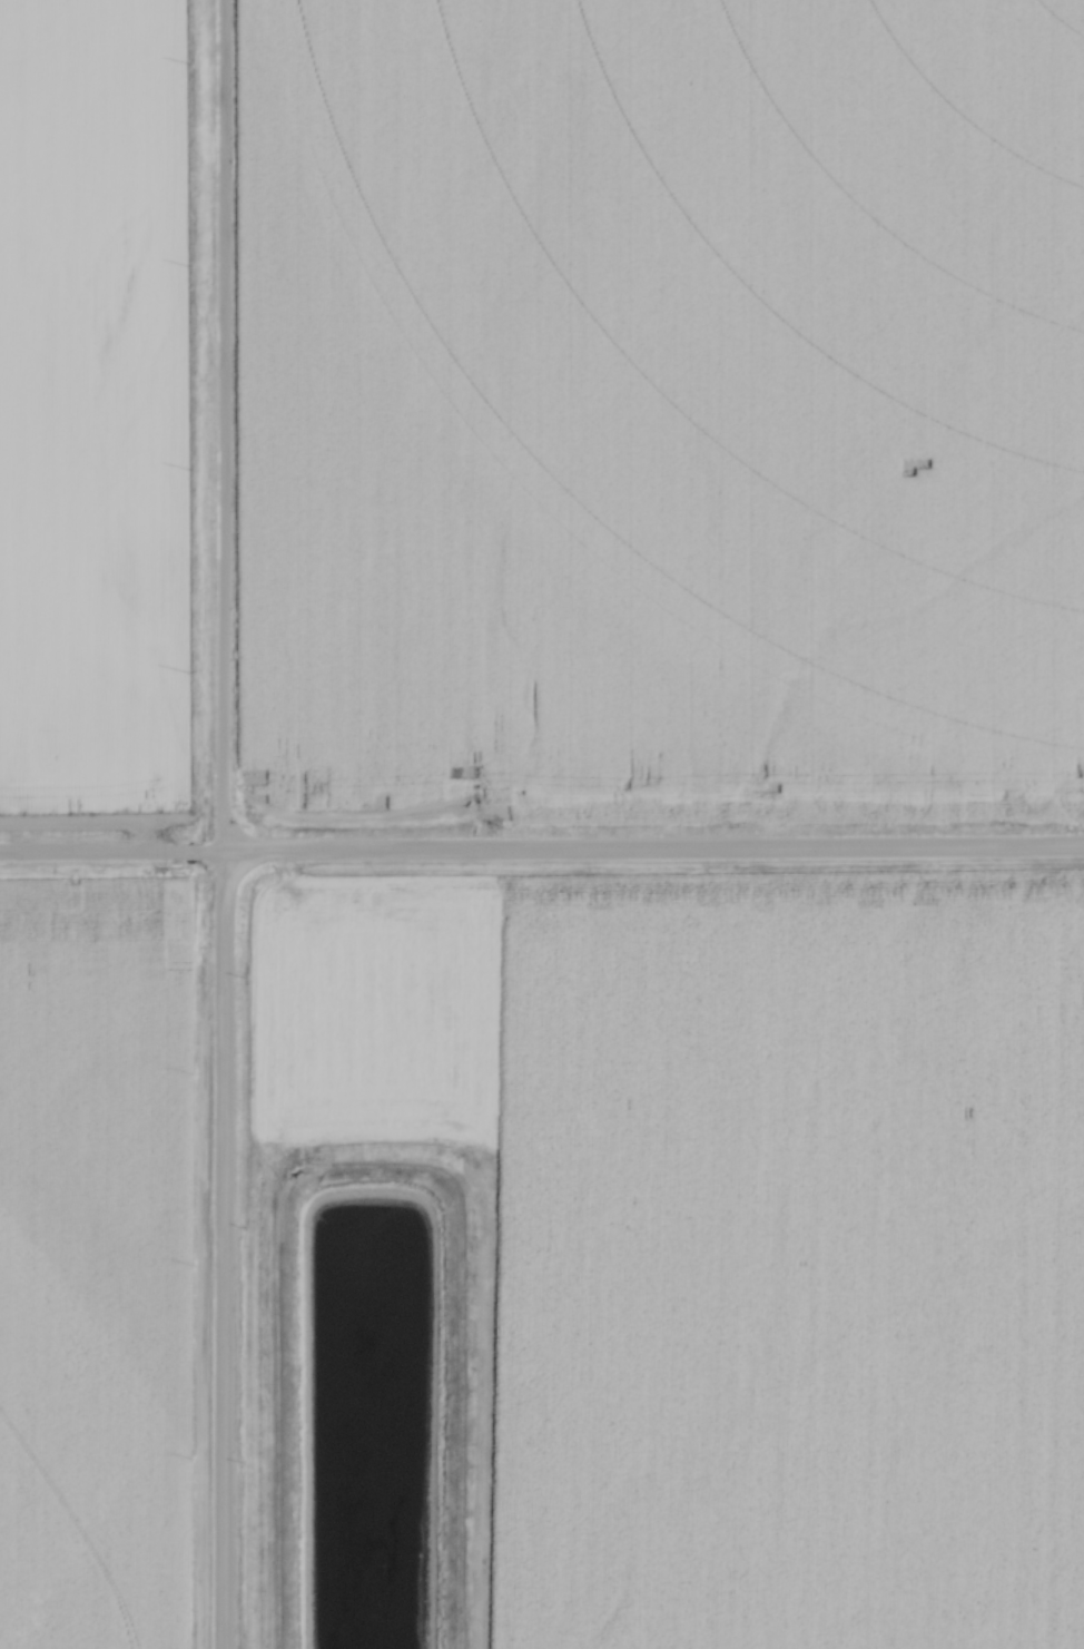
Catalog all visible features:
road: (219, 824)
road: (541, 857)

